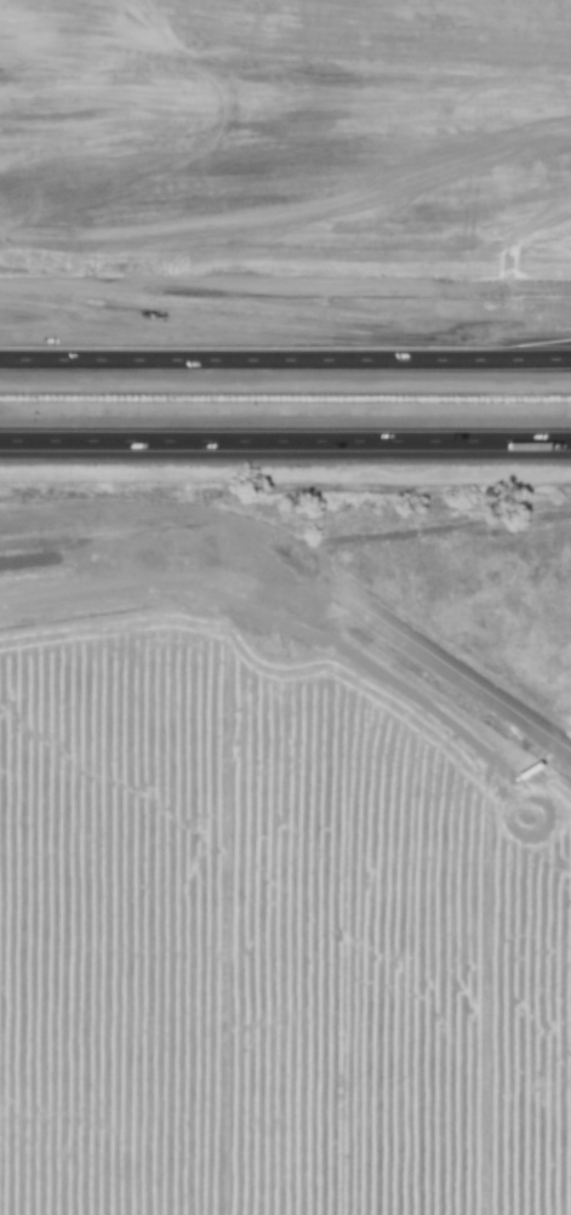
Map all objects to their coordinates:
road: (393, 290)
road: (160, 329)
road: (159, 353)
road: (445, 354)
road: (285, 444)
road: (306, 591)

